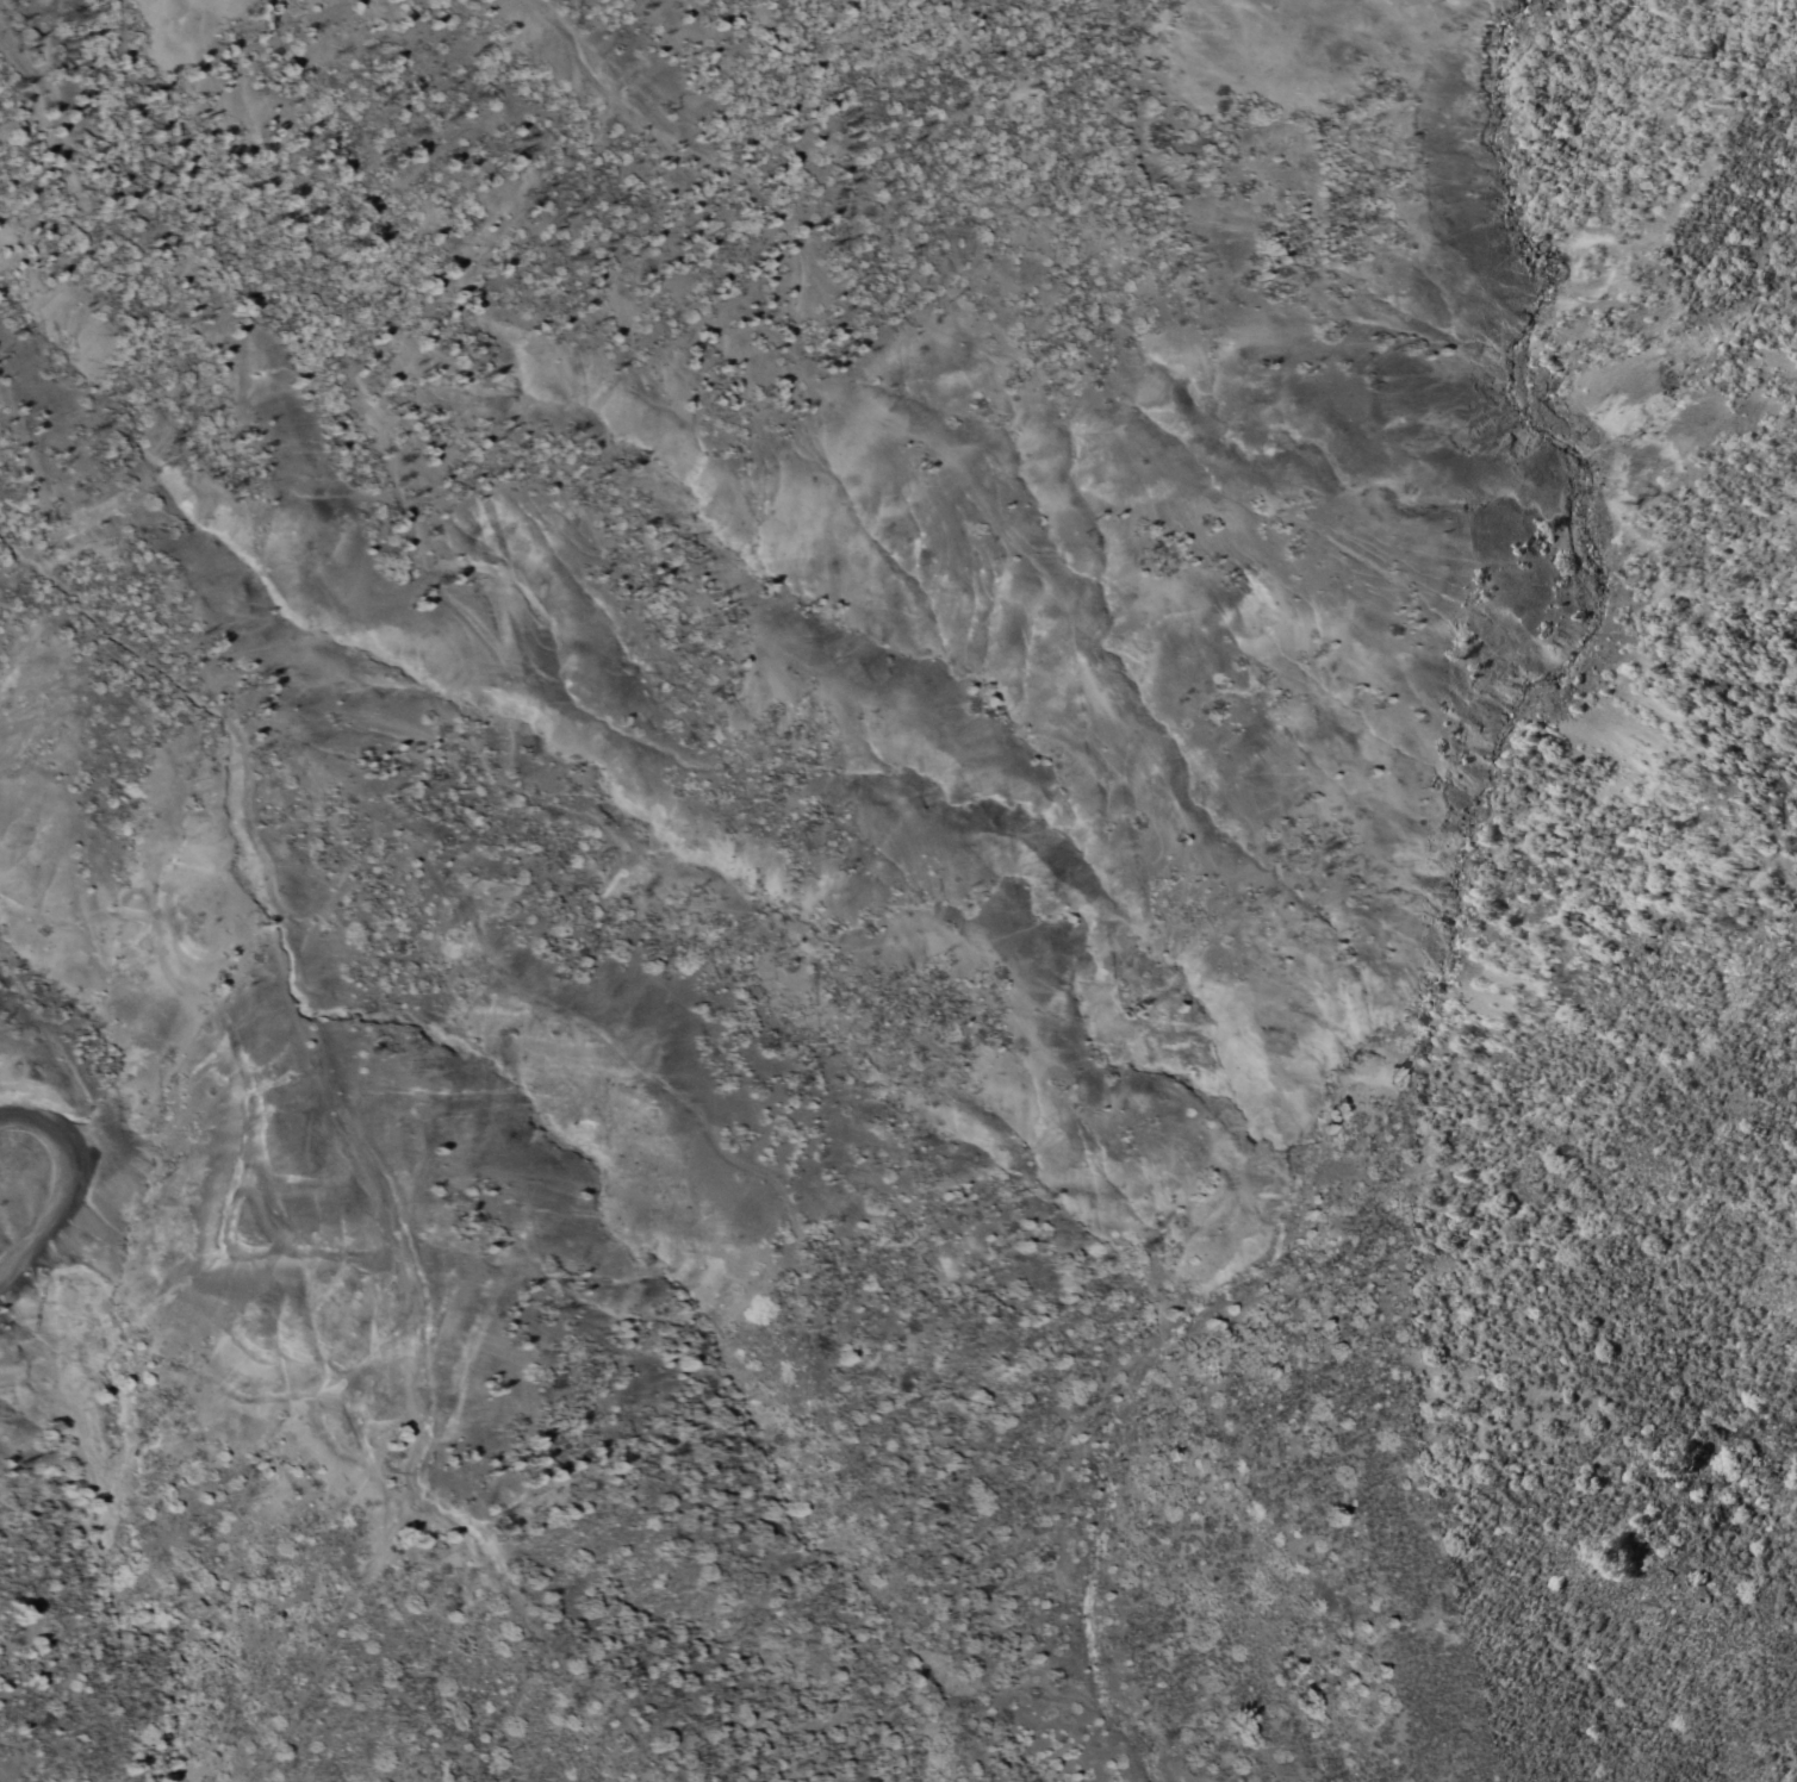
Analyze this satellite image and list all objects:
road: (76, 1267)

